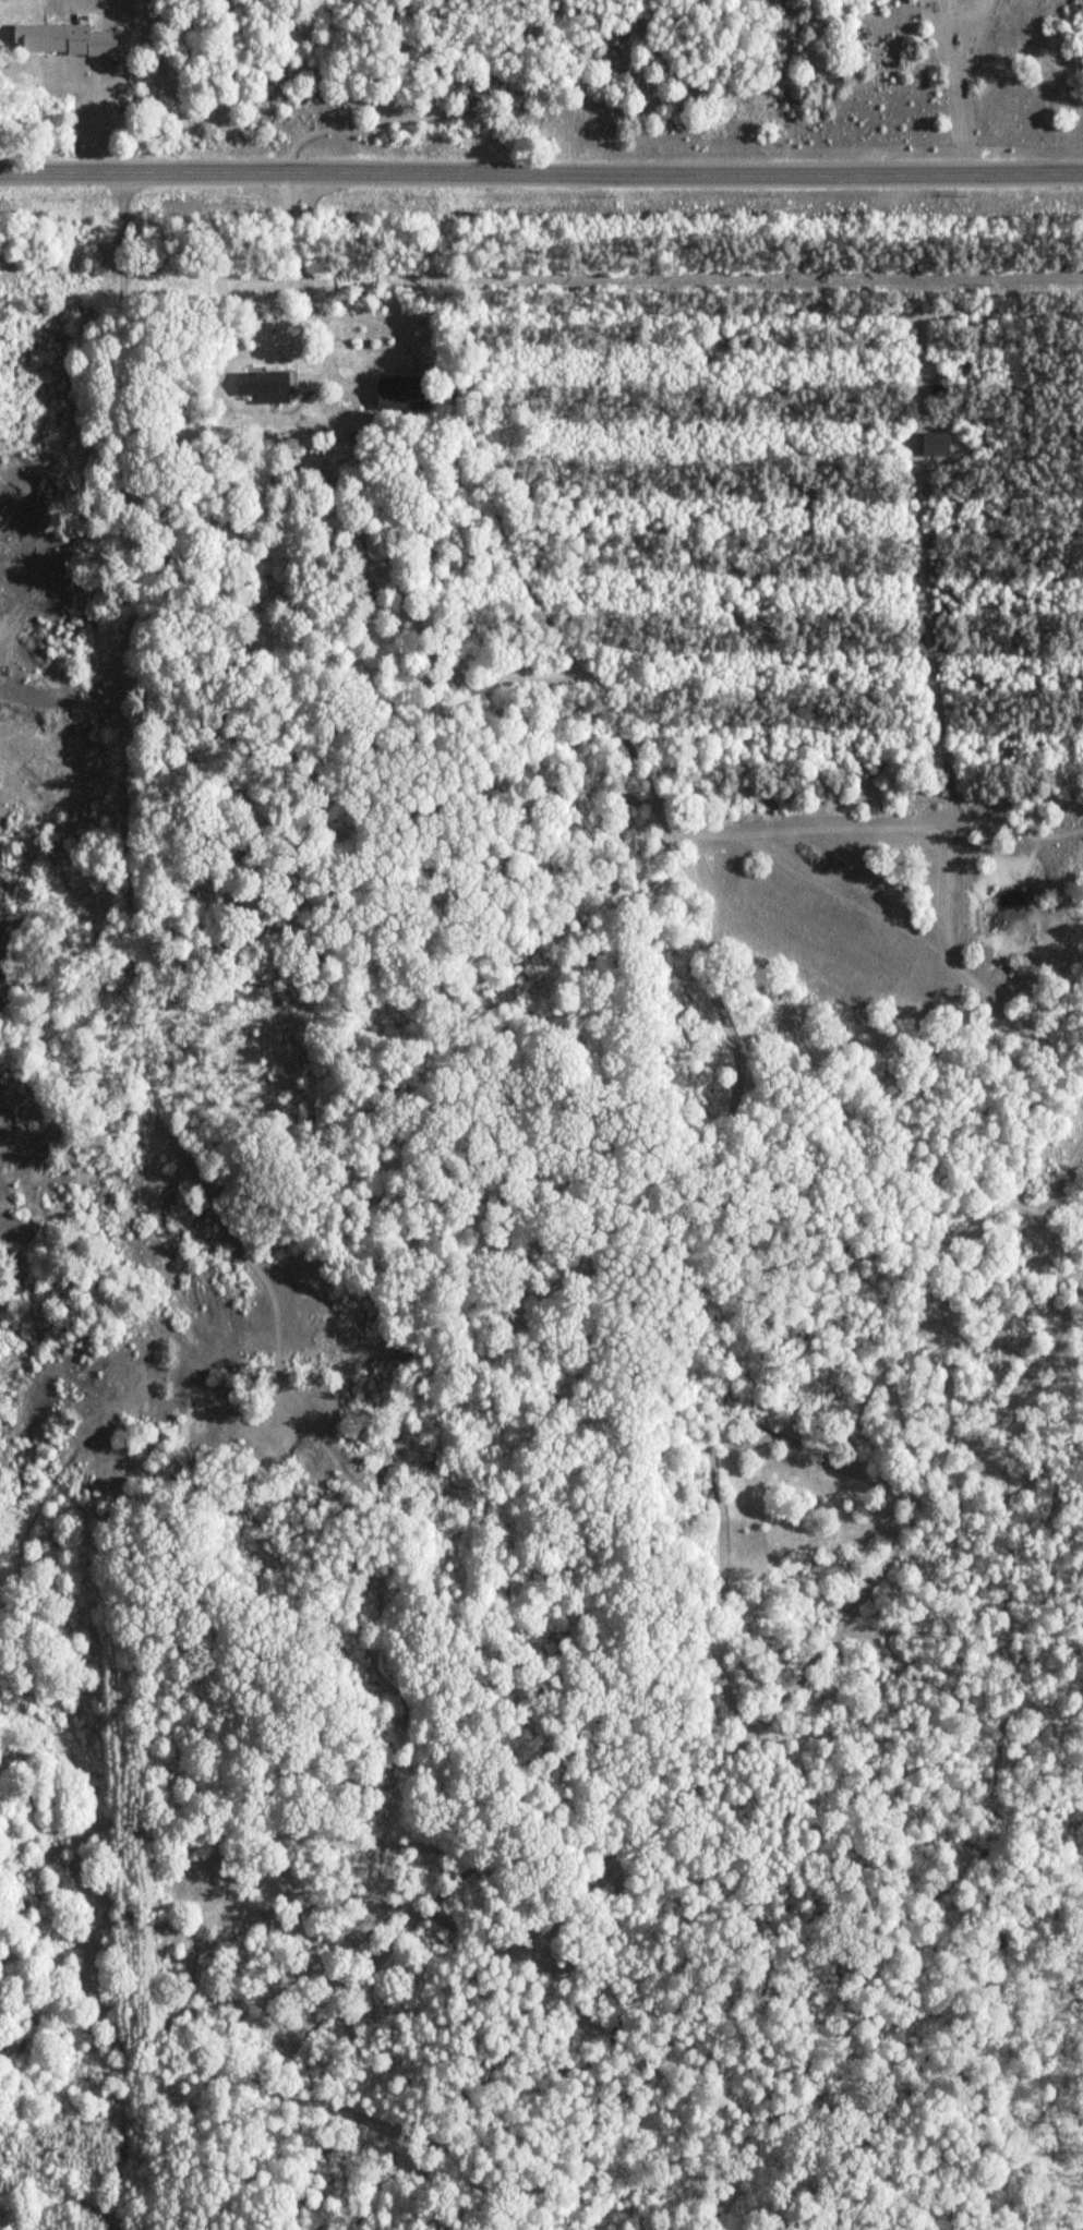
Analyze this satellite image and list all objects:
building: (80, 40)
road: (541, 168)
road: (300, 280)
building: (264, 387)
building: (401, 391)
building: (938, 444)
quarry: (62, 709)
quarry: (120, 1331)

